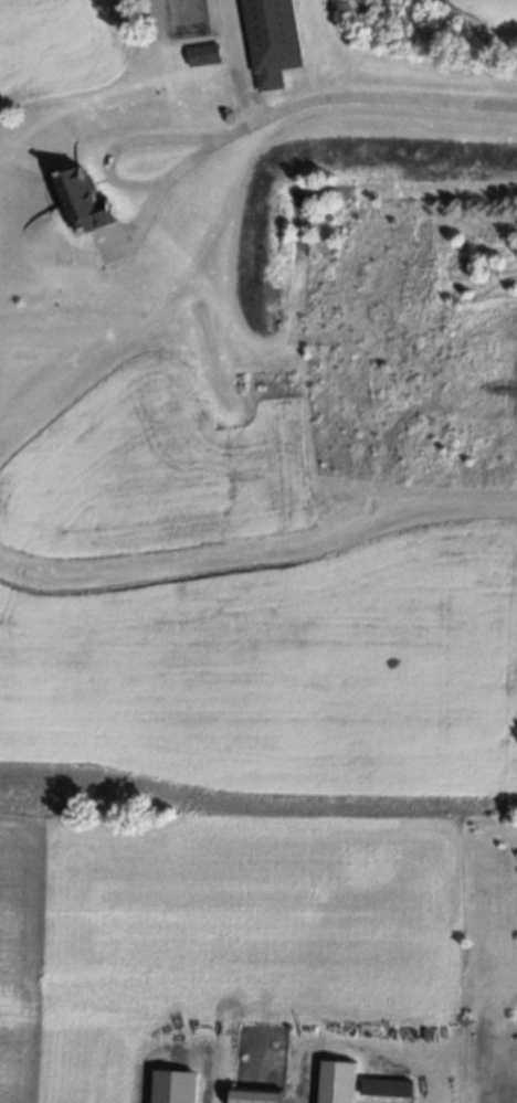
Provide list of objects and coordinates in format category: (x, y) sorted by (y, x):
crop: (494, 15)
building: (273, 41)
crop: (60, 47)
building: (204, 55)
road: (363, 99)
road: (109, 176)
building: (86, 201)
crop: (225, 736)
building: (336, 1082)
building: (175, 1086)
building: (384, 1088)
building: (256, 1095)

